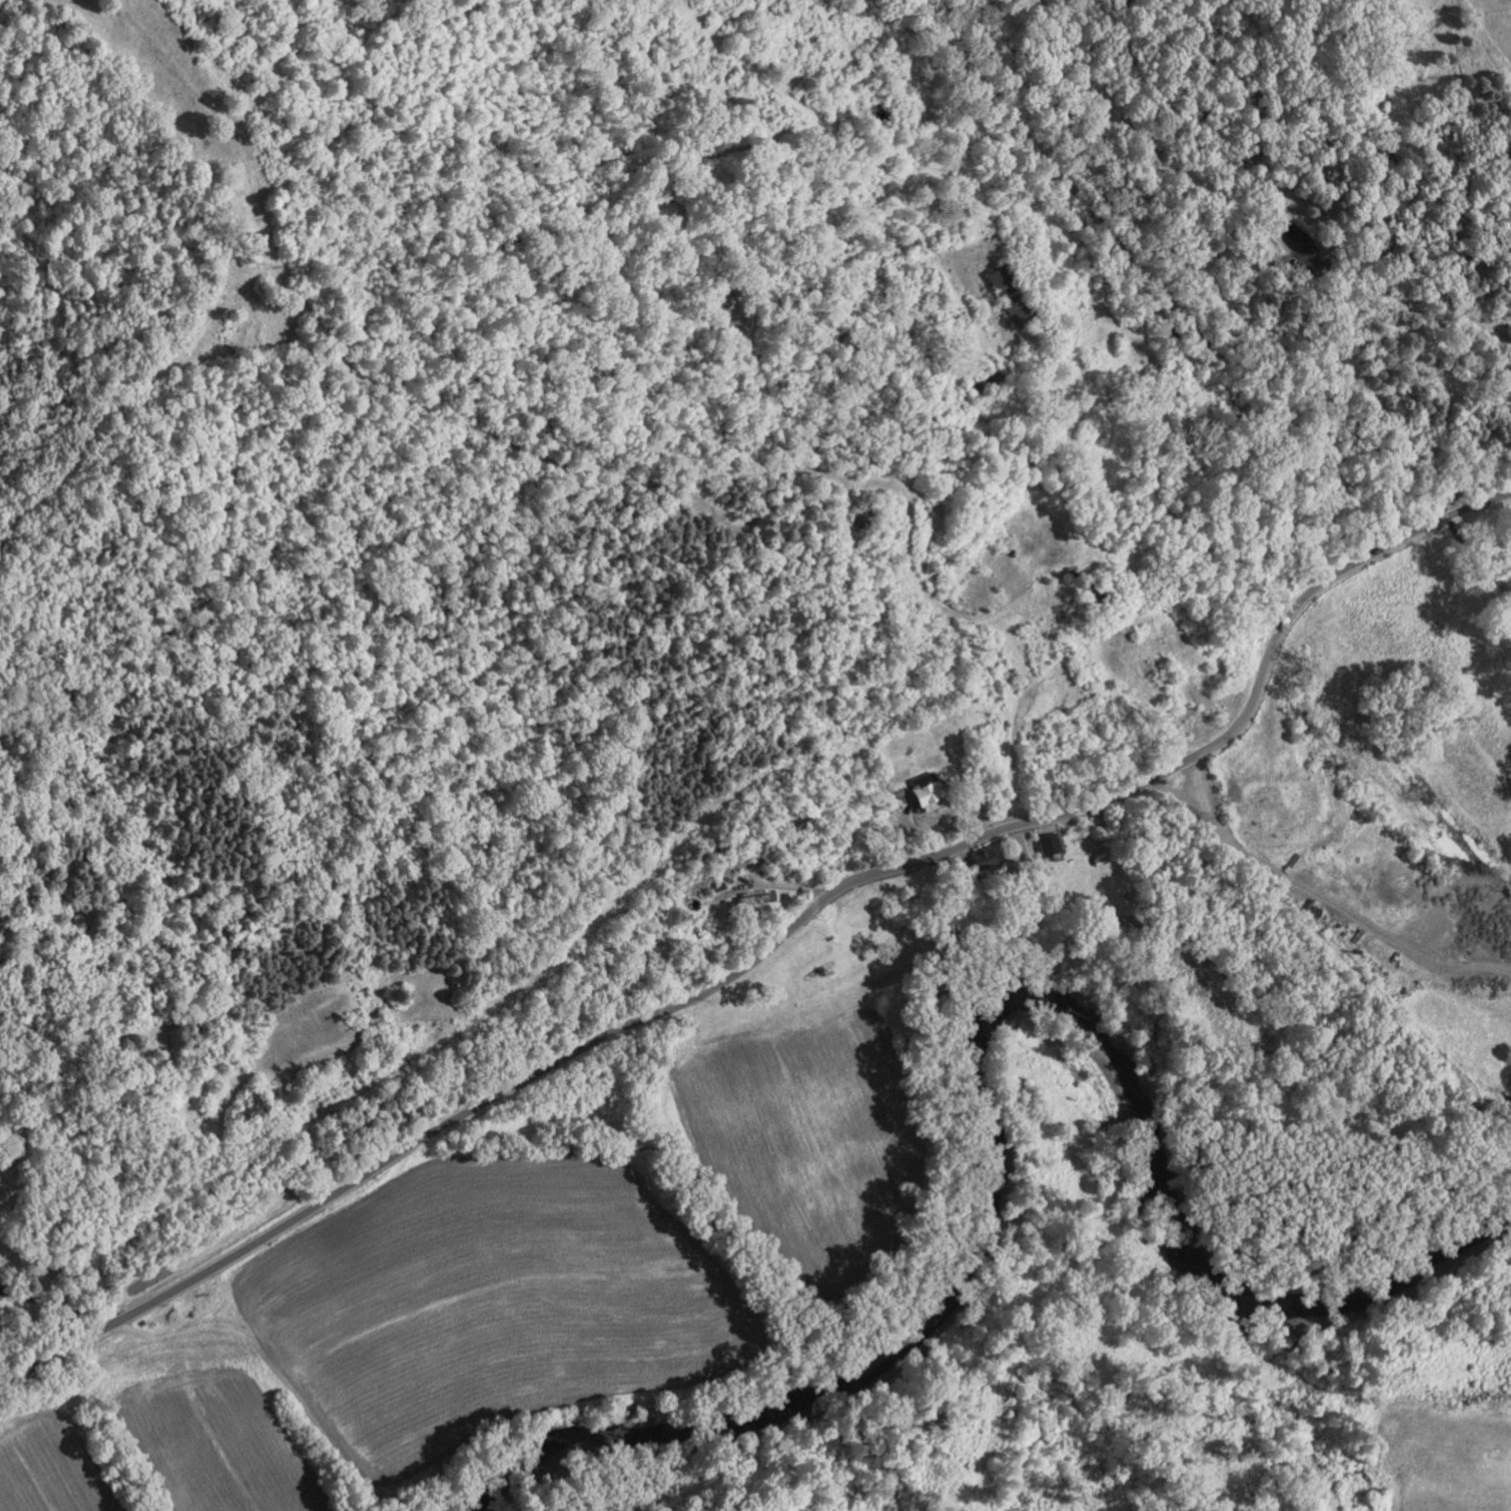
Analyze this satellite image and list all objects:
crop: (187, 153)
road: (1164, 295)
road: (771, 488)
road: (948, 827)
road: (776, 941)
road: (55, 1303)

